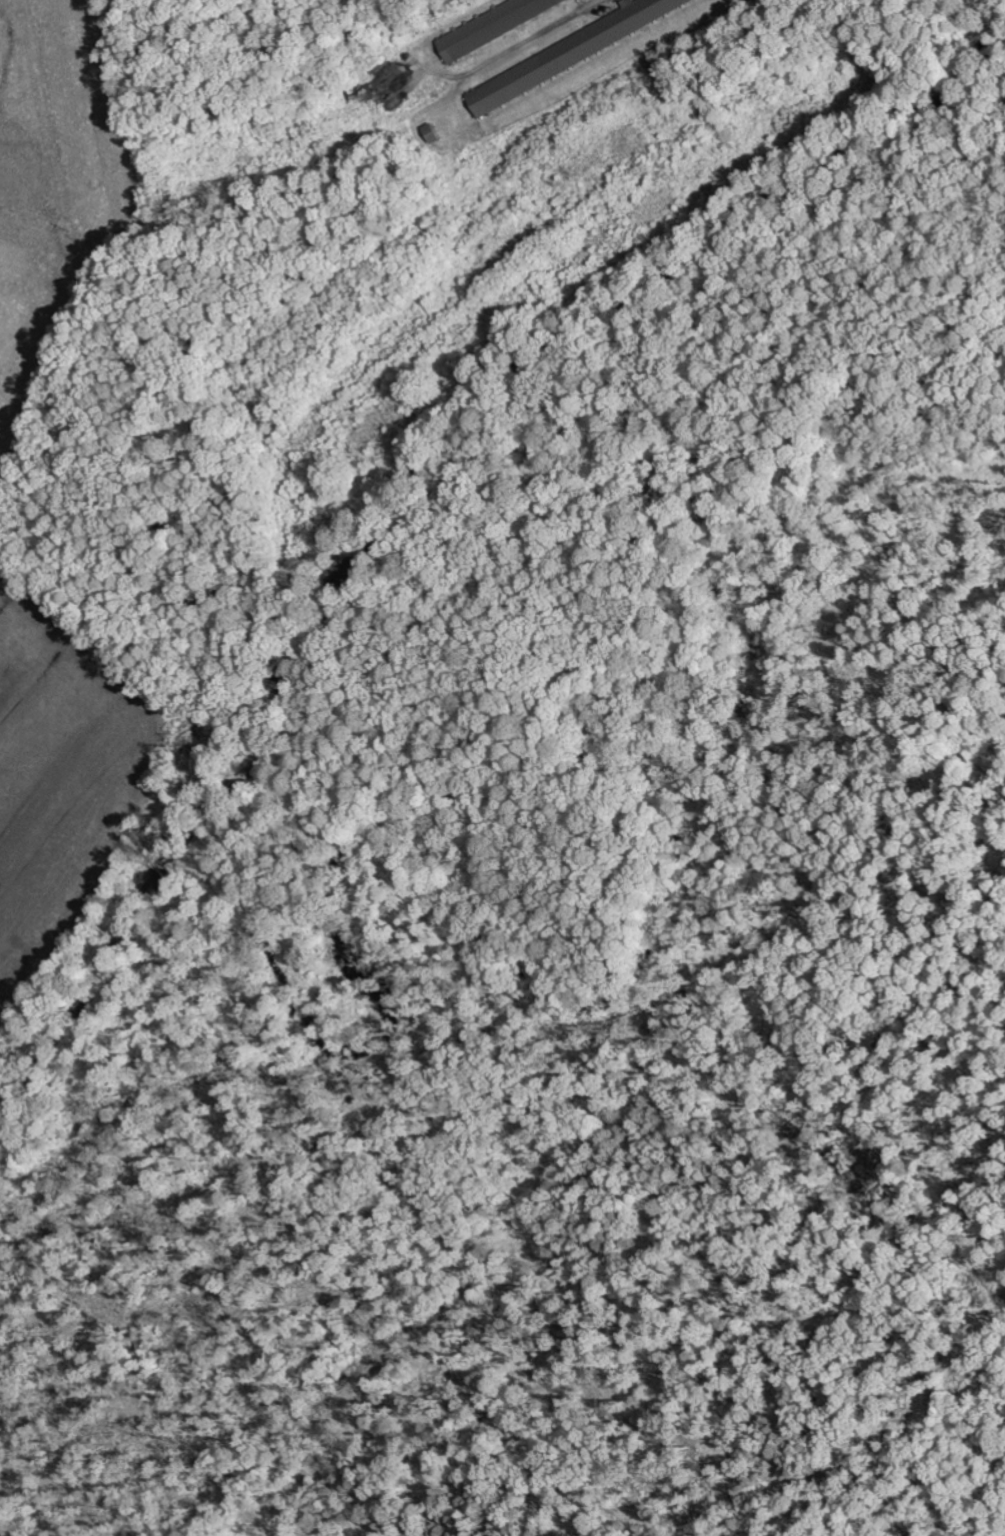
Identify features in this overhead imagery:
building: (487, 24)
building: (572, 50)

